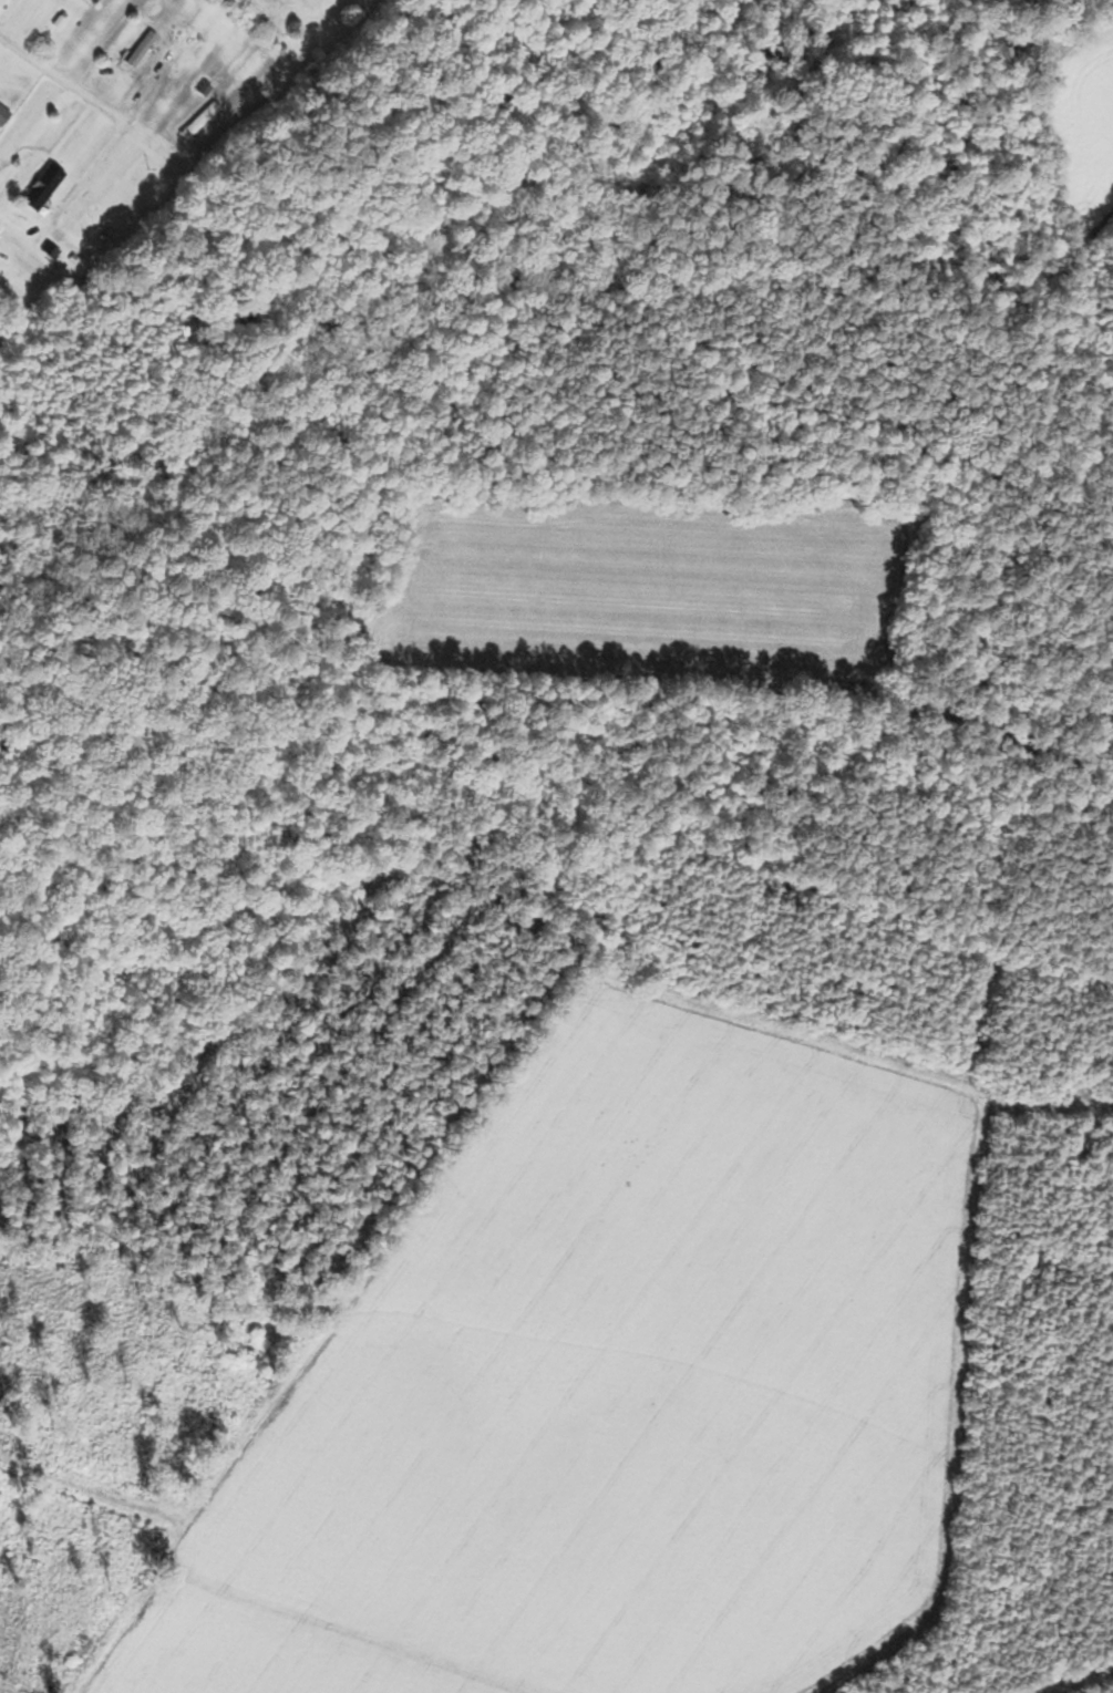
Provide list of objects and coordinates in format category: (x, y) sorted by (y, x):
building: (0, 0)
road: (61, 78)
building: (37, 189)
road: (934, 723)
road: (124, 1545)

